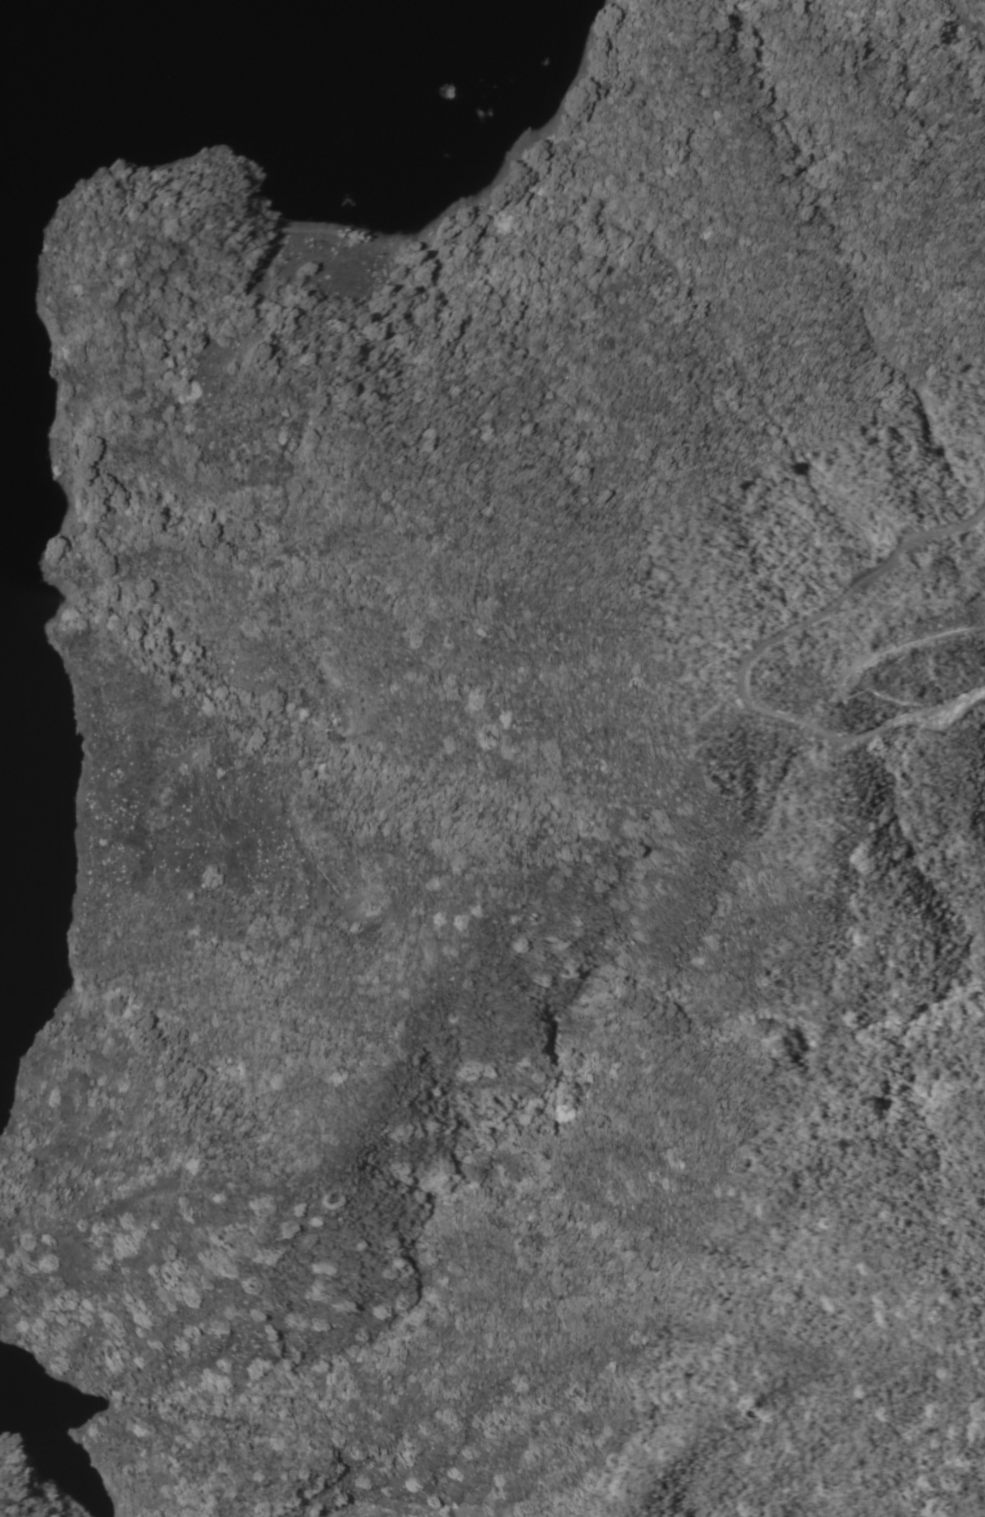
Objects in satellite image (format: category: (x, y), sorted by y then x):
river: (65, 56)
river: (141, 123)
river: (7, 130)
road: (862, 657)
road: (746, 664)

